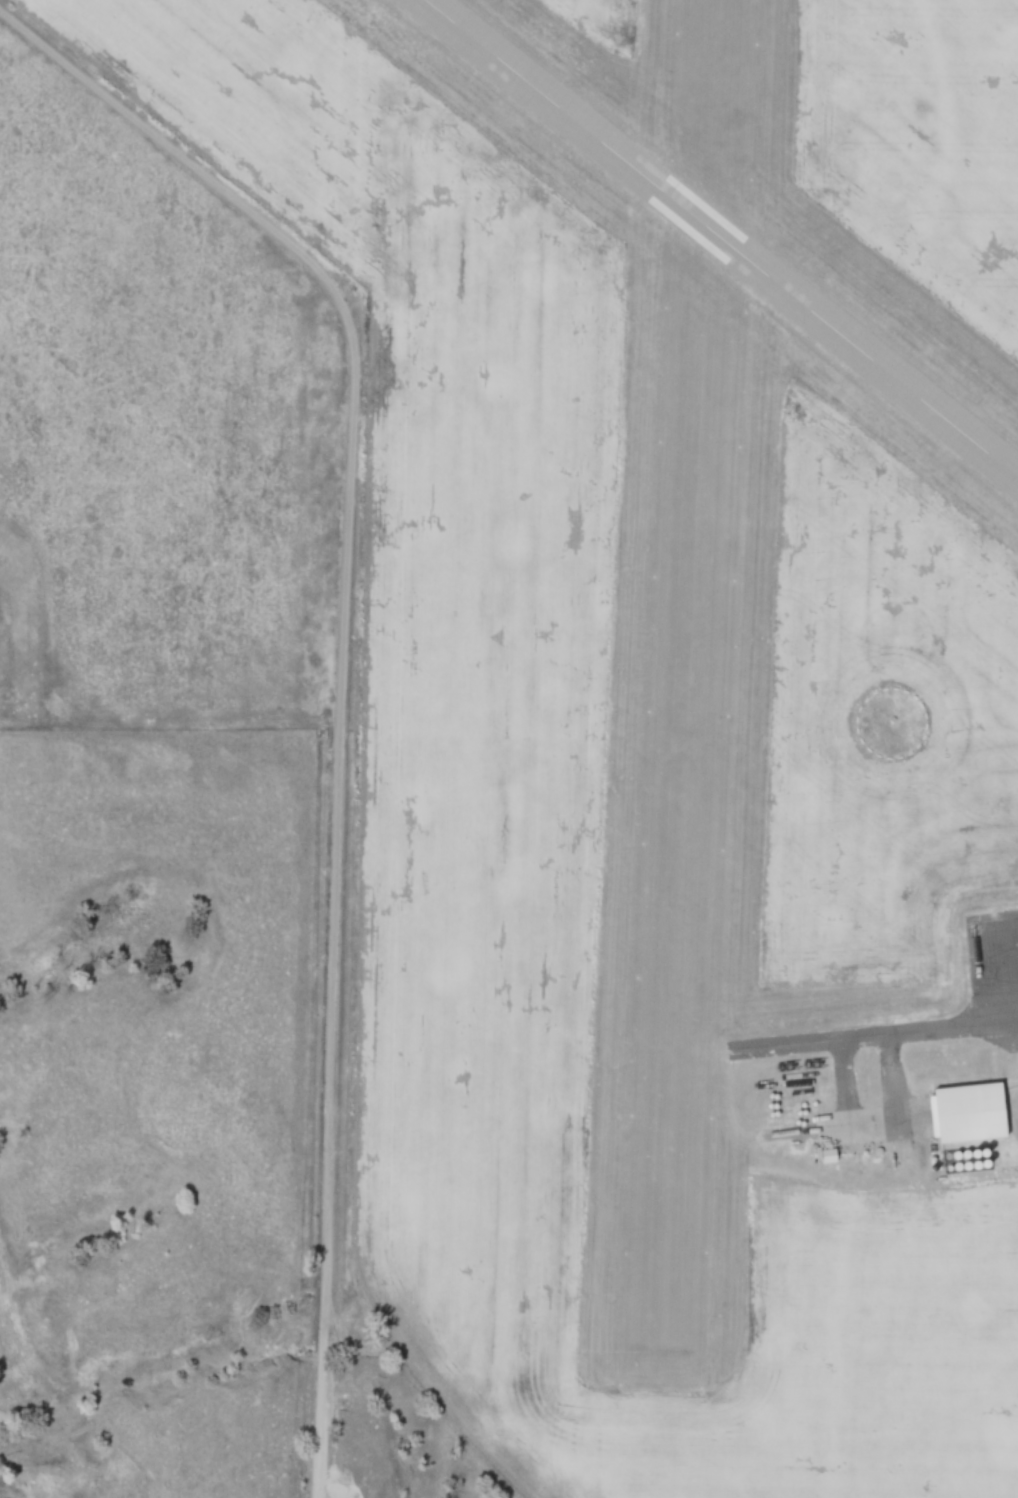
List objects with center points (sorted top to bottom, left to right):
airport runway: (720, 239)
airport runway: (689, 690)
airport: (661, 718)
road: (336, 895)
airport taxiway: (845, 1040)
building: (982, 1115)
building: (828, 1156)
building: (955, 1386)

